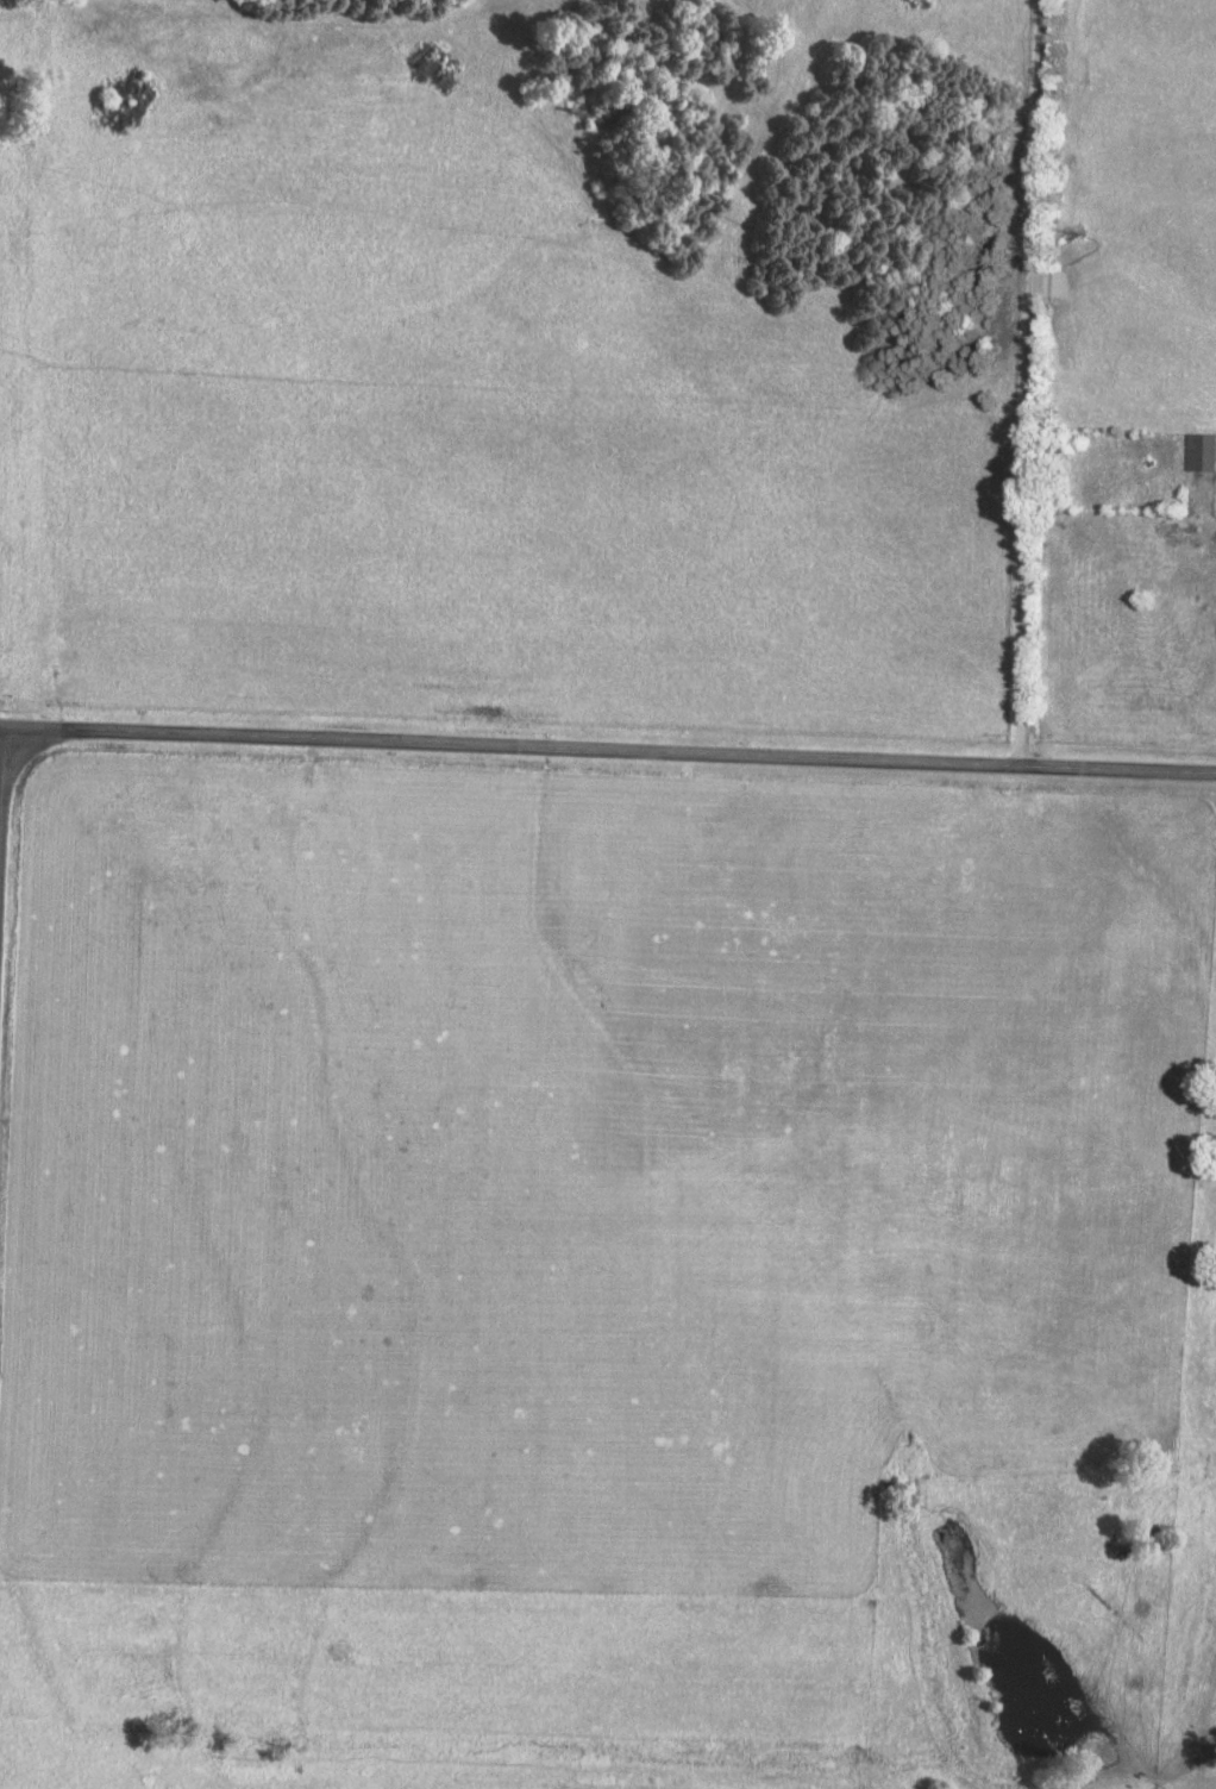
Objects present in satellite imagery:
road: (1034, 382)
building: (1201, 452)
road: (610, 746)
road: (2, 778)

